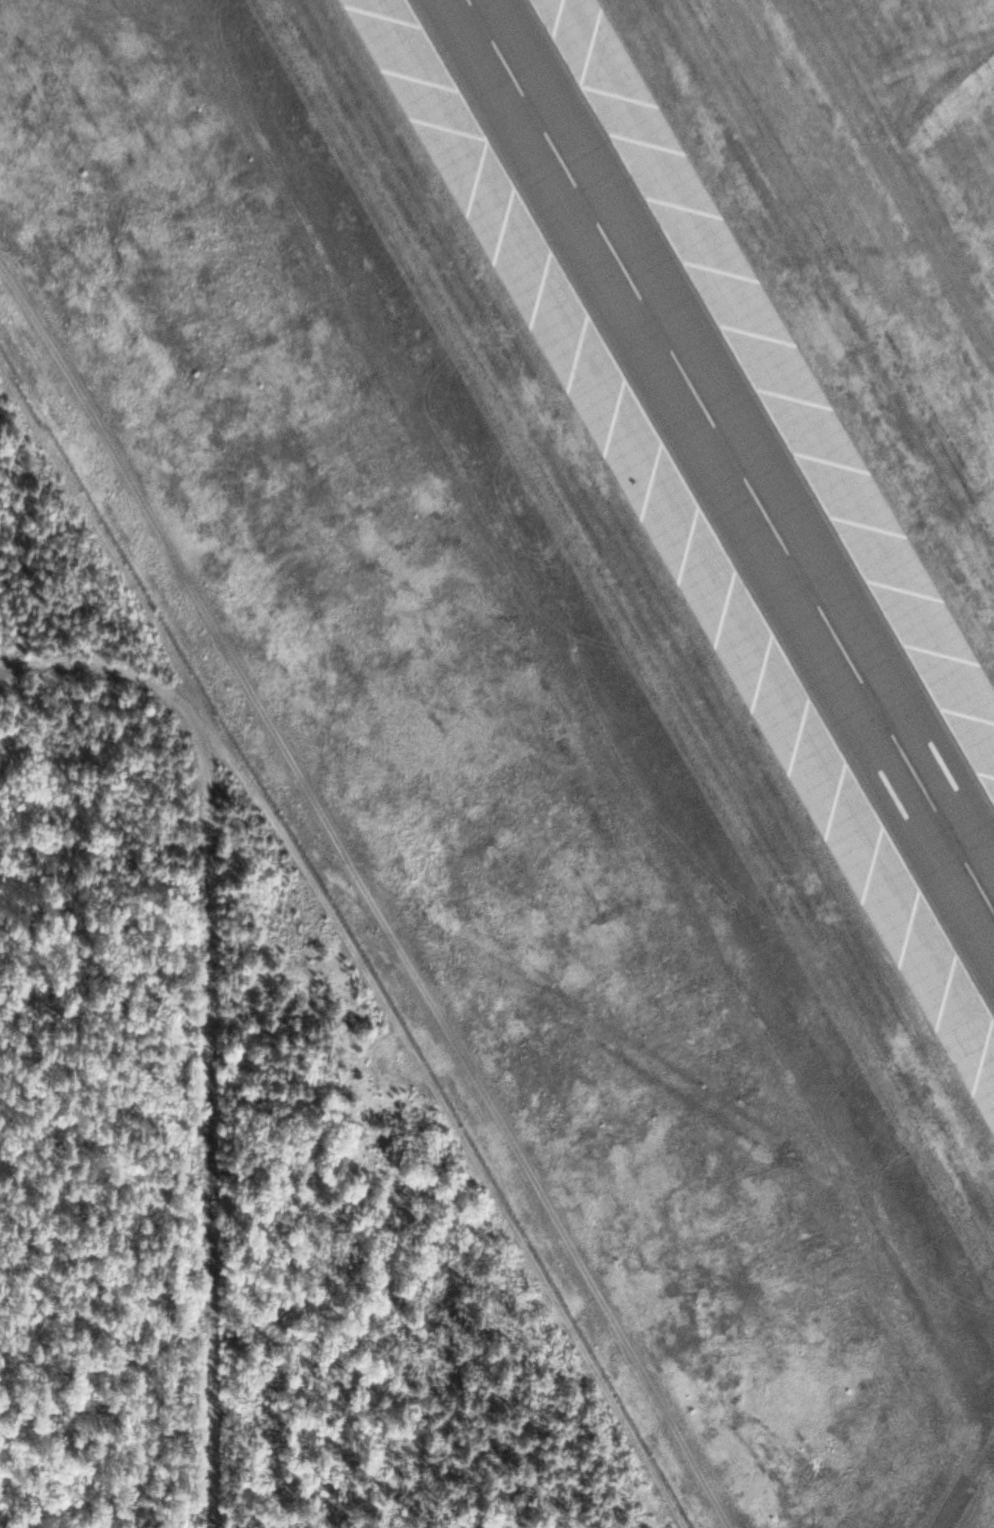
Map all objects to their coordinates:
airport apron: (773, 382)
airport runway: (728, 461)
airport: (594, 629)
road: (173, 703)
road: (449, 1059)
road: (211, 1201)

